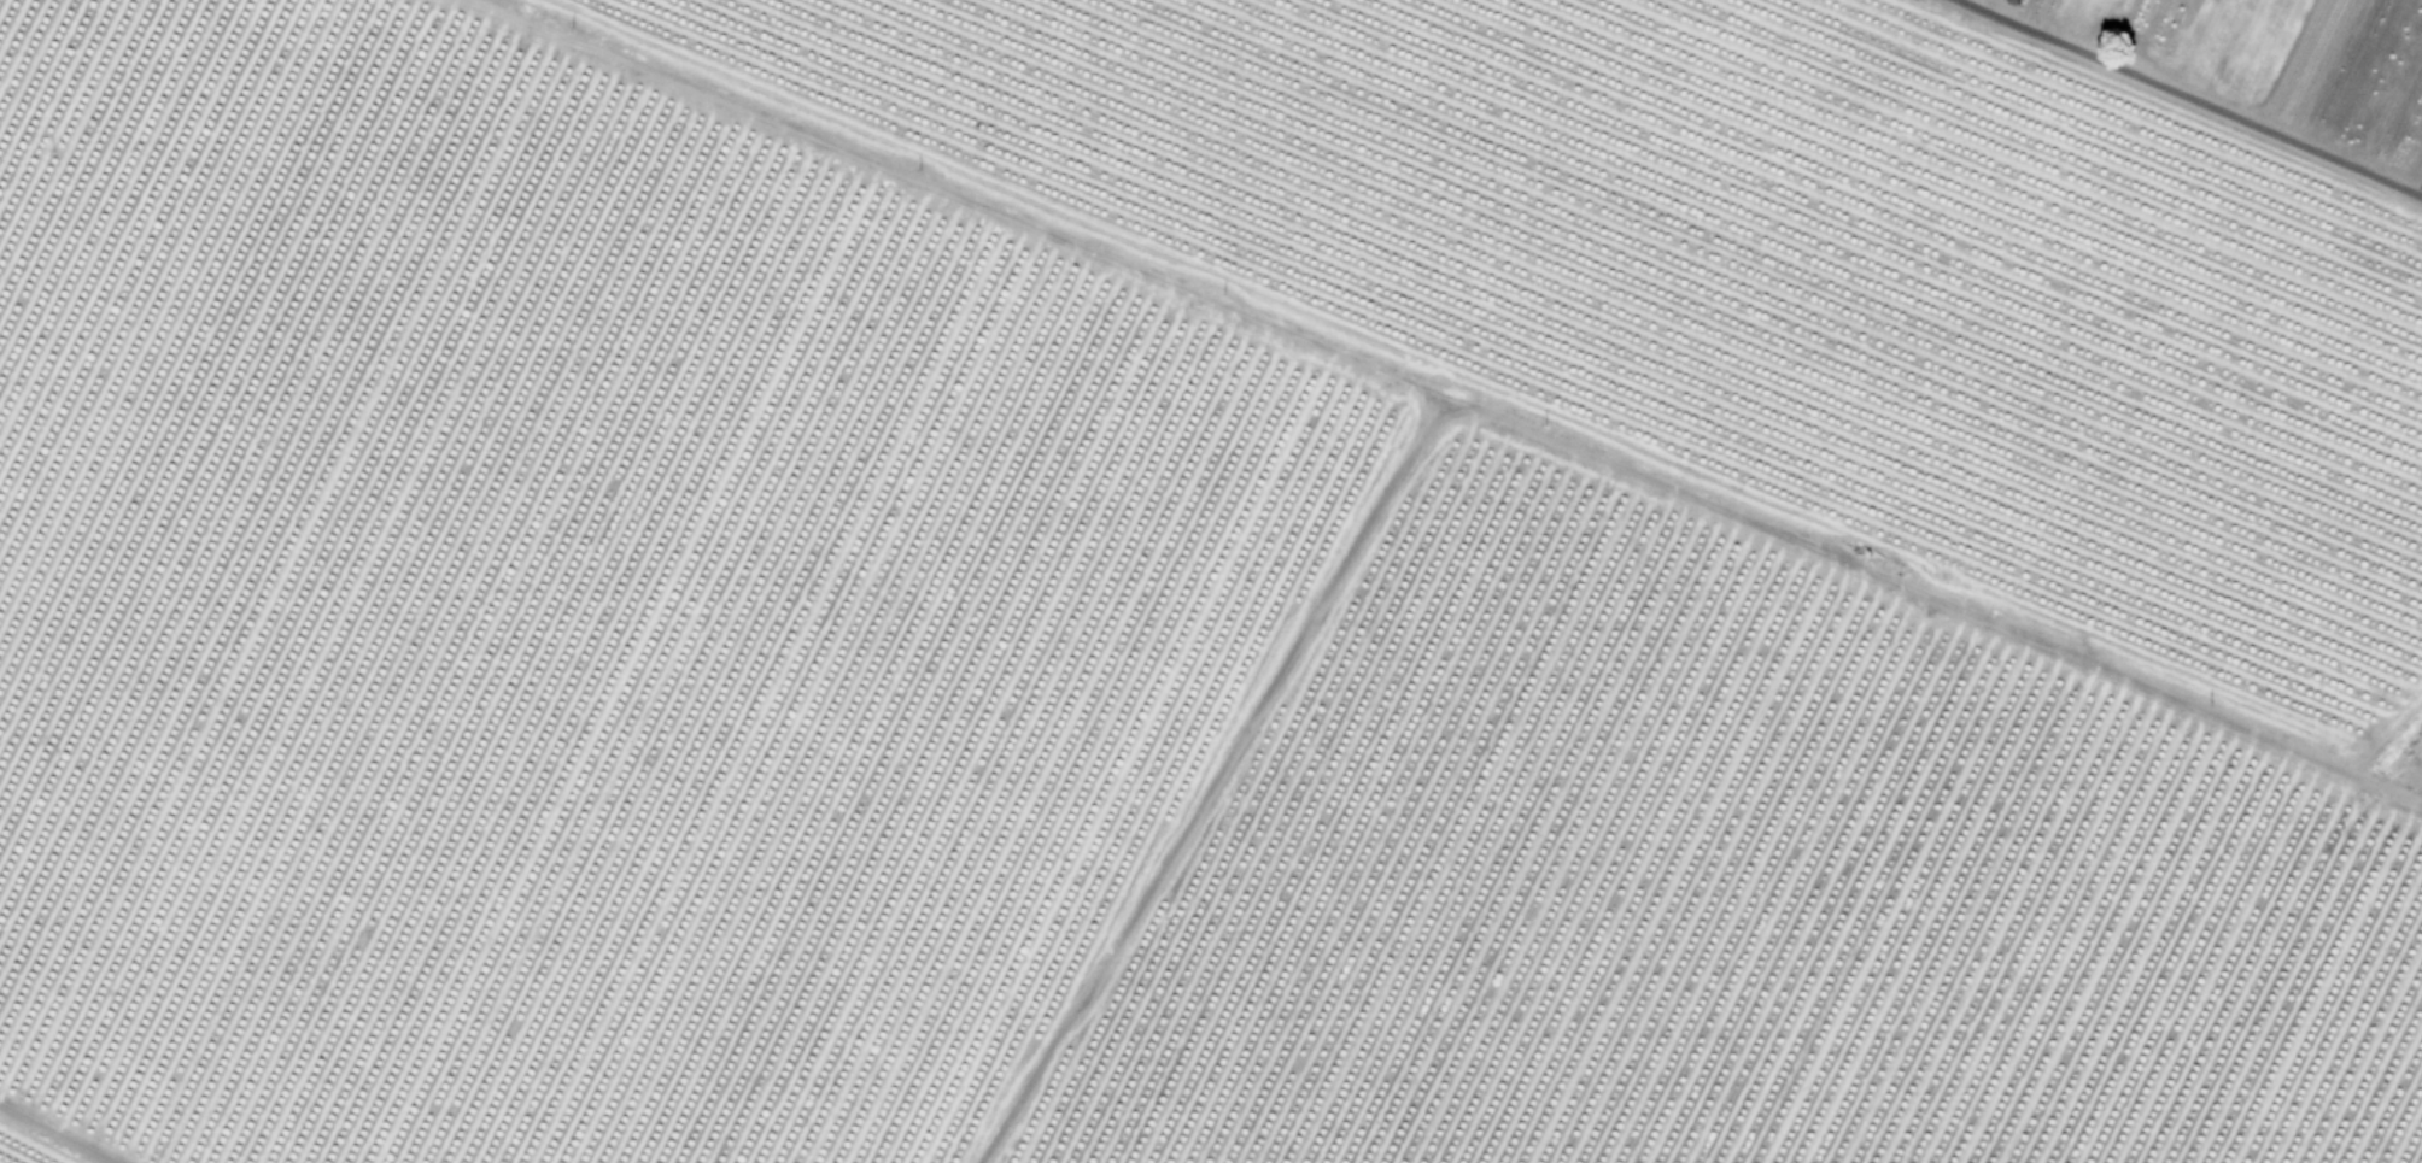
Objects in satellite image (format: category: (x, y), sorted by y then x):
road: (2189, 98)
crop: (1211, 581)

